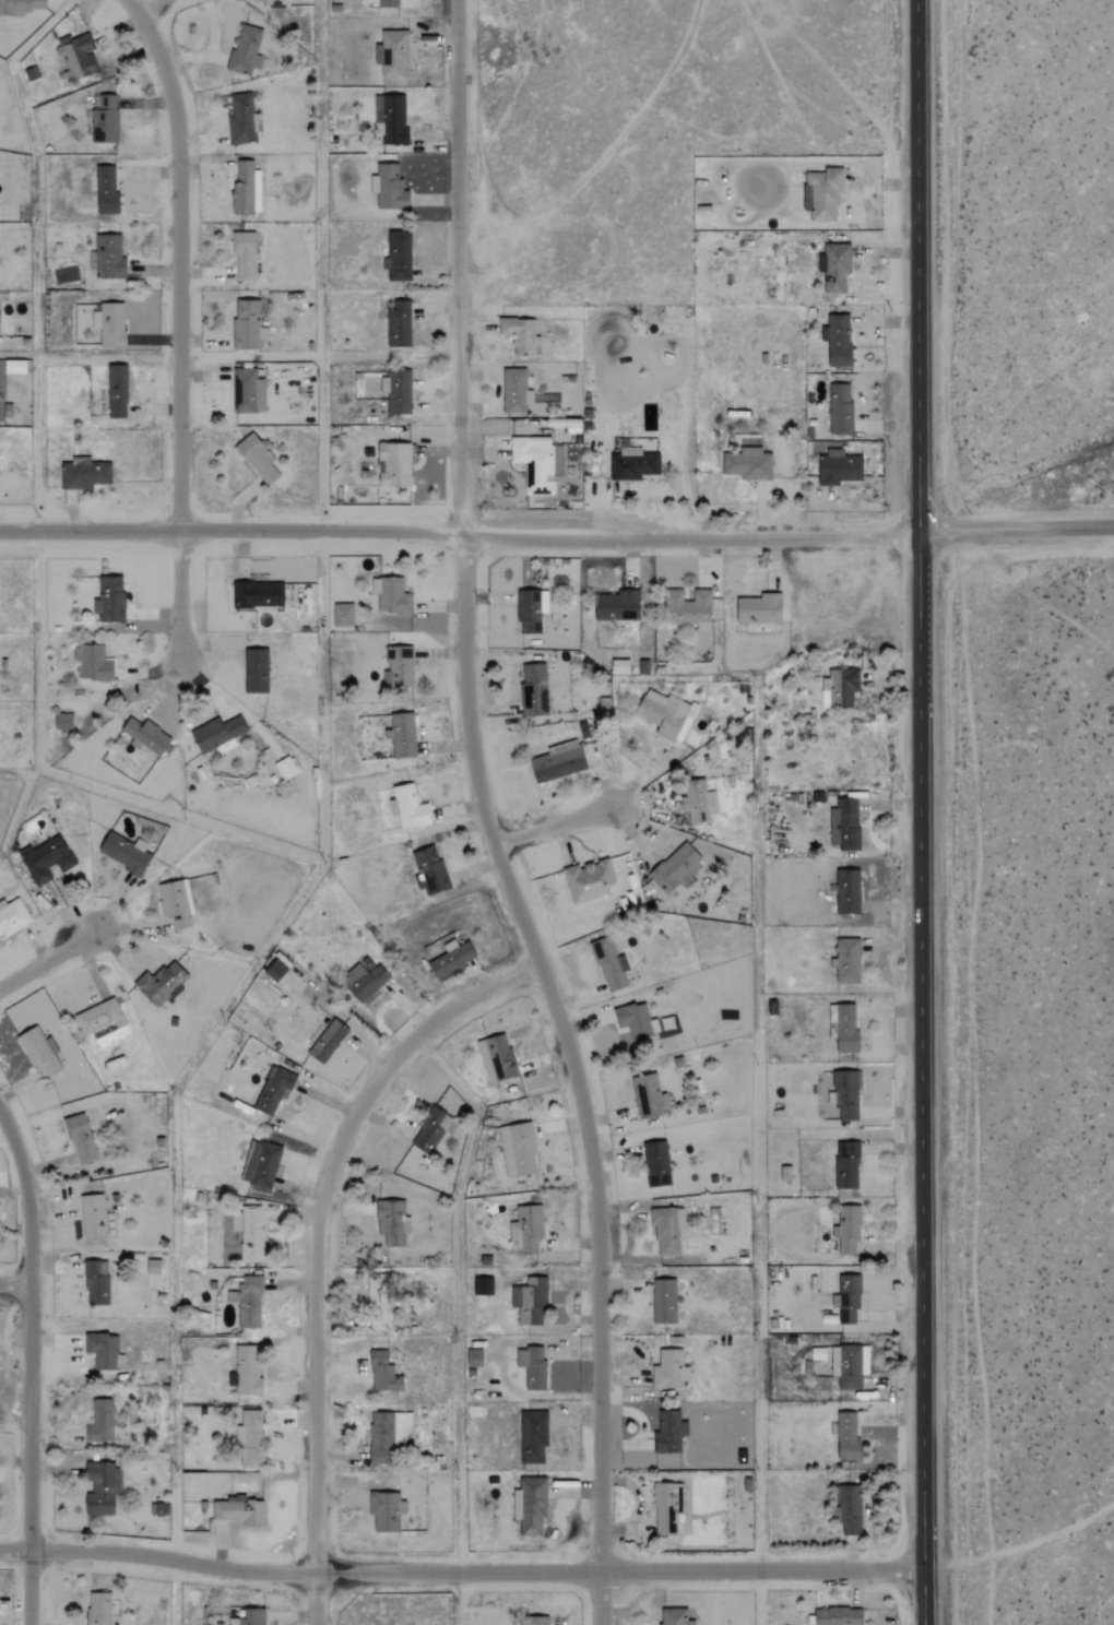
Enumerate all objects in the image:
road: (141, 0)
building: (276, 3)
building: (20, 7)
building: (245, 50)
building: (392, 54)
building: (105, 119)
building: (242, 120)
building: (393, 120)
building: (389, 188)
building: (106, 190)
building: (246, 190)
building: (822, 195)
building: (399, 256)
building: (244, 257)
building: (109, 258)
building: (834, 268)
building: (110, 324)
building: (399, 324)
building: (247, 325)
road: (175, 327)
building: (520, 334)
building: (838, 341)
building: (14, 367)
building: (396, 391)
building: (115, 392)
building: (248, 392)
building: (515, 392)
building: (840, 410)
building: (258, 458)
building: (632, 464)
building: (747, 464)
building: (394, 465)
building: (839, 468)
building: (84, 474)
road: (1040, 475)
road: (557, 538)
building: (258, 595)
building: (391, 596)
road: (1041, 600)
building: (109, 601)
building: (617, 606)
building: (760, 609)
building: (688, 610)
building: (531, 612)
building: (343, 616)
building: (93, 664)
building: (399, 667)
building: (256, 672)
building: (840, 688)
building: (534, 690)
building: (666, 715)
building: (63, 722)
building: (403, 736)
building: (146, 737)
building: (557, 763)
building: (285, 769)
building: (699, 803)
building: (408, 808)
road: (919, 811)
road: (489, 819)
road: (554, 822)
building: (844, 825)
building: (125, 852)
building: (47, 859)
building: (676, 869)
building: (429, 871)
building: (589, 881)
building: (848, 892)
building: (176, 903)
building: (13, 917)
building: (451, 958)
building: (848, 961)
road: (46, 963)
building: (609, 964)
building: (276, 968)
building: (365, 978)
building: (162, 983)
building: (99, 1018)
building: (636, 1021)
building: (846, 1028)
building: (328, 1041)
building: (39, 1051)
building: (497, 1058)
building: (273, 1089)
building: (846, 1095)
building: (648, 1096)
building: (430, 1129)
building: (81, 1139)
road: (4, 1142)
building: (518, 1150)
building: (261, 1164)
building: (656, 1164)
building: (846, 1165)
building: (93, 1217)
building: (392, 1223)
building: (526, 1230)
building: (848, 1230)
building: (667, 1231)
building: (249, 1232)
road: (320, 1247)
building: (153, 1273)
building: (96, 1282)
road: (14, 1285)
building: (483, 1286)
building: (849, 1297)
building: (530, 1301)
building: (663, 1301)
building: (247, 1302)
building: (381, 1310)
building: (104, 1351)
building: (474, 1357)
building: (849, 1365)
road: (26, 1366)
building: (532, 1367)
building: (247, 1369)
building: (669, 1369)
building: (383, 1373)
building: (100, 1422)
road: (12, 1425)
building: (666, 1430)
building: (388, 1434)
building: (533, 1436)
building: (848, 1436)
building: (250, 1438)
building: (102, 1487)
building: (530, 1505)
building: (667, 1508)
building: (158, 1509)
building: (850, 1510)
building: (386, 1511)
road: (460, 1571)
building: (99, 1609)
building: (673, 1616)
building: (839, 1616)
building: (249, 1617)
building: (536, 1621)

